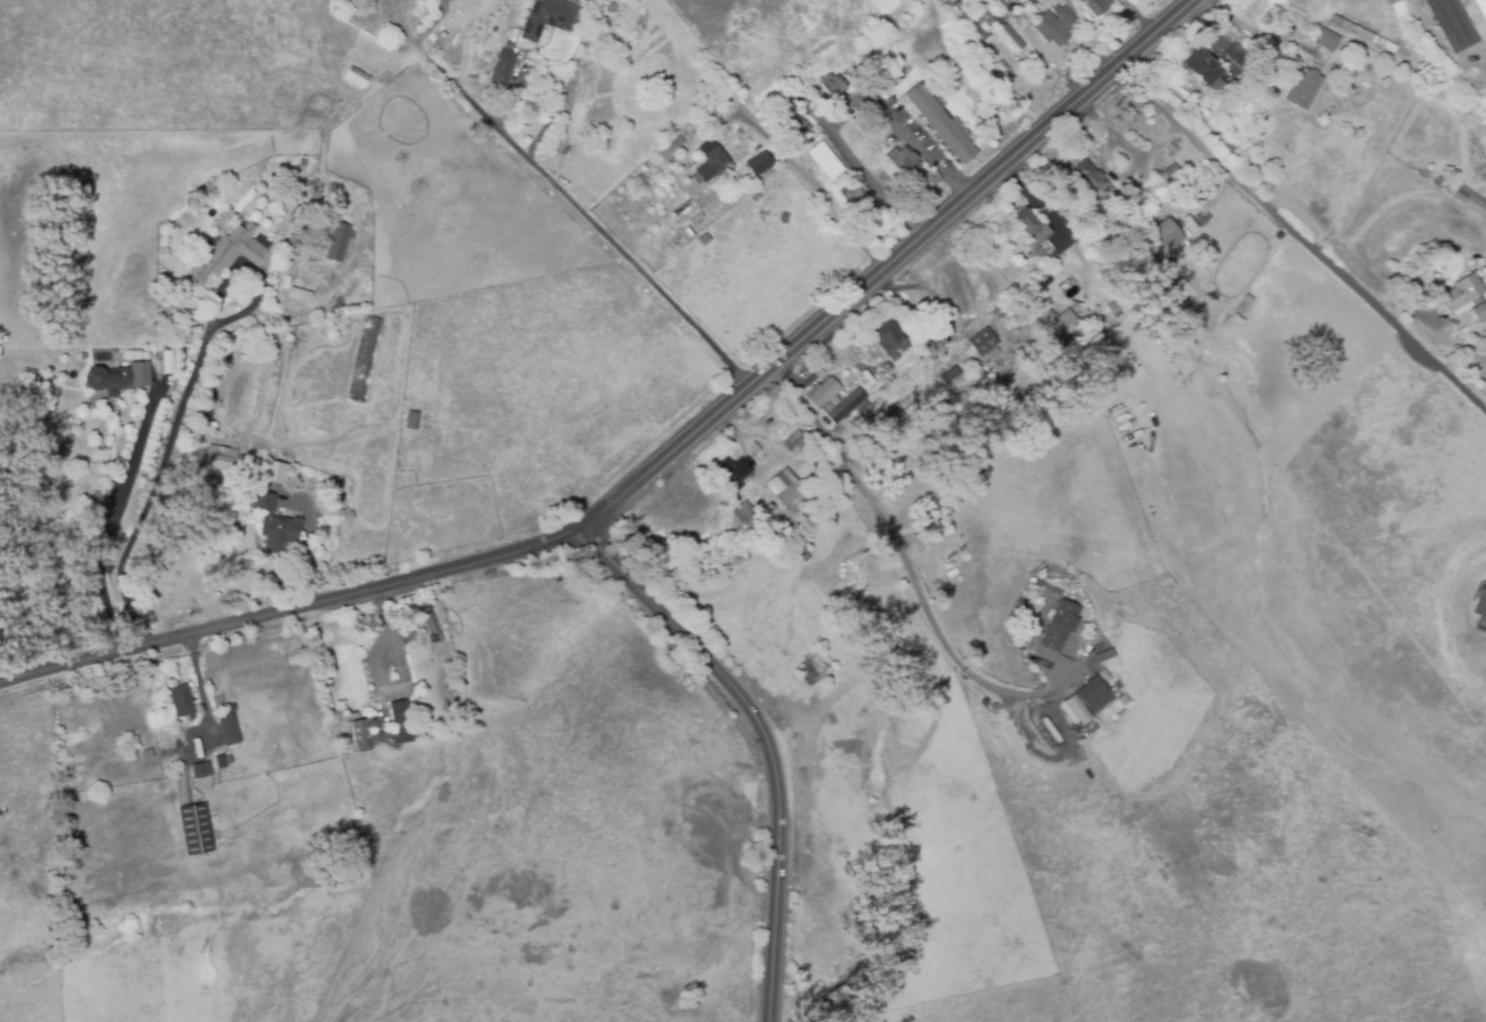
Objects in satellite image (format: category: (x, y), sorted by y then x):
building: (1001, 3)
building: (1097, 6)
building: (611, 8)
building: (1481, 9)
building: (1009, 11)
building: (548, 18)
building: (976, 18)
road: (404, 21)
building: (1021, 21)
road: (435, 22)
building: (1055, 26)
road: (1258, 31)
building: (1011, 40)
building: (1327, 40)
building: (1235, 53)
building: (505, 66)
building: (1004, 68)
building: (1205, 68)
building: (358, 75)
building: (897, 79)
building: (720, 81)
building: (833, 86)
building: (1304, 89)
road: (843, 107)
building: (714, 112)
building: (791, 119)
building: (671, 122)
building: (942, 124)
building: (614, 134)
building: (721, 144)
road: (1233, 150)
building: (665, 153)
building: (715, 158)
building: (825, 161)
building: (903, 162)
building: (759, 164)
building: (1426, 171)
building: (1088, 177)
road: (805, 178)
building: (1442, 183)
road: (1410, 194)
building: (1471, 200)
building: (860, 203)
road: (583, 213)
building: (1034, 230)
building: (1168, 234)
road: (1298, 239)
building: (339, 240)
building: (231, 250)
building: (1040, 254)
road: (886, 264)
building: (1462, 292)
building: (298, 295)
road: (1410, 308)
building: (1479, 312)
building: (1046, 314)
building: (187, 319)
building: (1068, 319)
building: (890, 340)
building: (188, 341)
building: (985, 346)
building: (929, 347)
building: (366, 358)
building: (167, 363)
building: (886, 367)
building: (1114, 367)
building: (120, 375)
building: (951, 378)
building: (825, 393)
building: (846, 406)
road: (182, 409)
building: (414, 423)
building: (806, 450)
building: (223, 459)
building: (274, 472)
building: (734, 473)
building: (784, 487)
road: (115, 516)
building: (277, 524)
road: (900, 544)
building: (1481, 605)
road: (294, 609)
building: (1060, 626)
building: (1103, 657)
road: (383, 663)
building: (810, 672)
building: (184, 700)
building: (1086, 700)
building: (361, 725)
building: (226, 730)
road: (761, 738)
building: (146, 755)
building: (221, 763)
building: (201, 772)
building: (193, 830)

